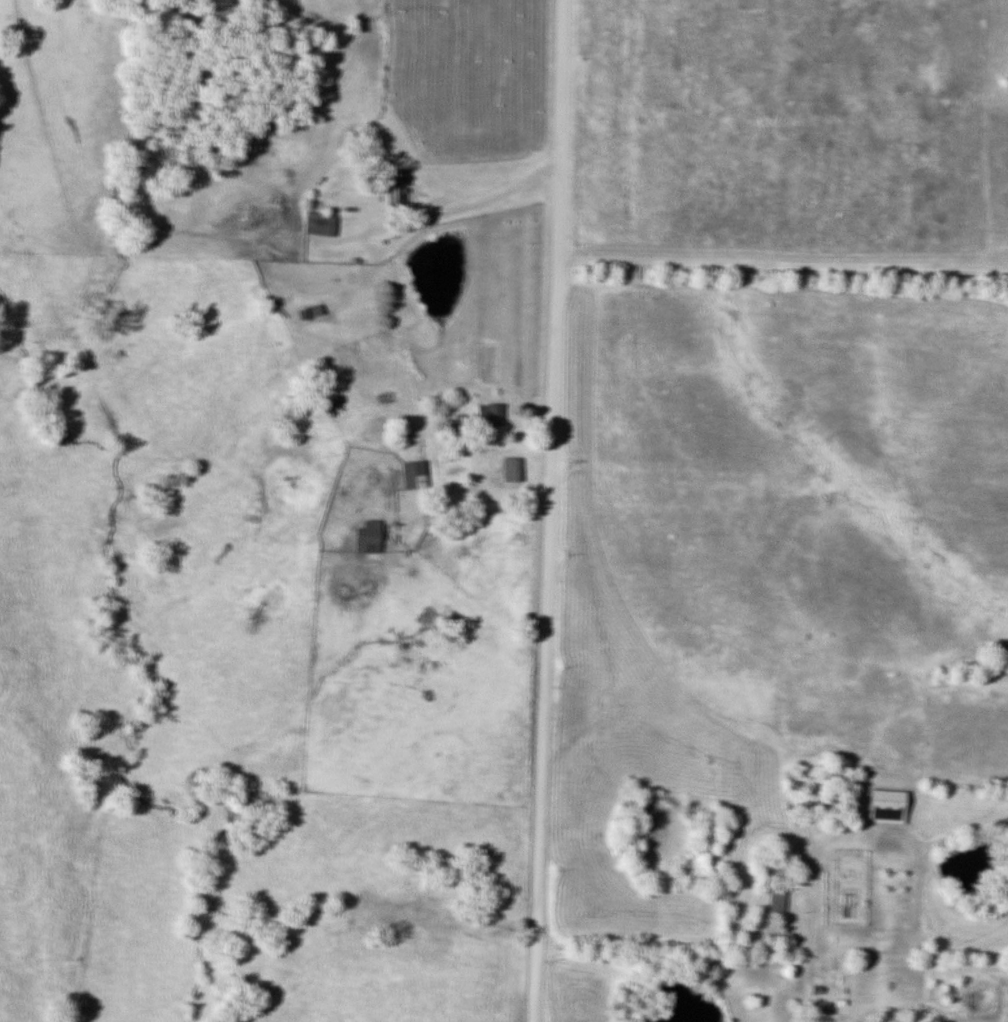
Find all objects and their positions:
road: (428, 216)
building: (317, 224)
building: (308, 312)
building: (486, 415)
building: (509, 469)
building: (410, 475)
road: (550, 511)
building: (365, 537)
building: (883, 806)
building: (773, 900)

